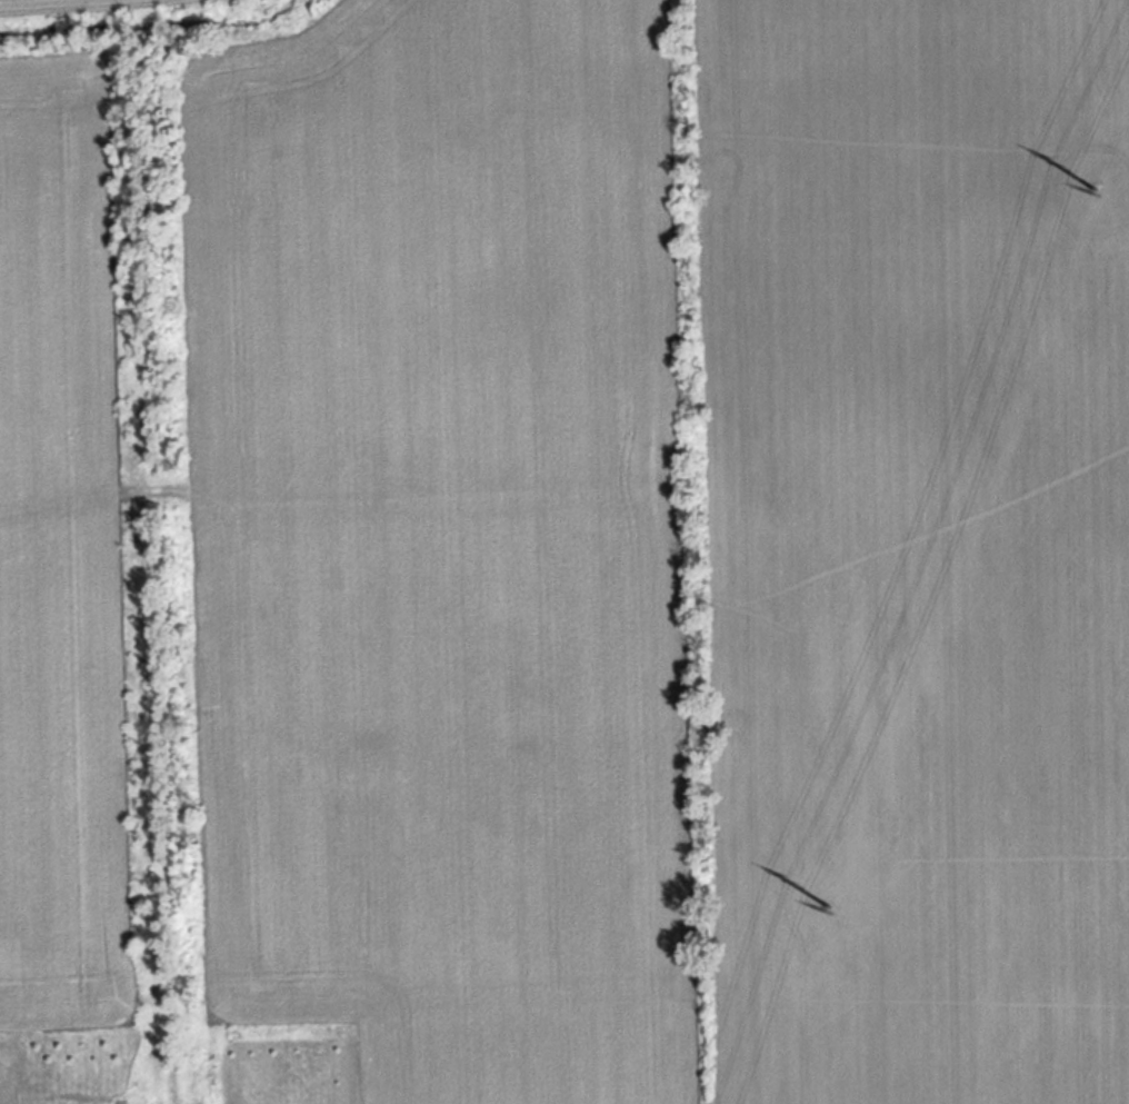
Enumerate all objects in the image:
power tower: (1093, 180)
power tower: (827, 899)

